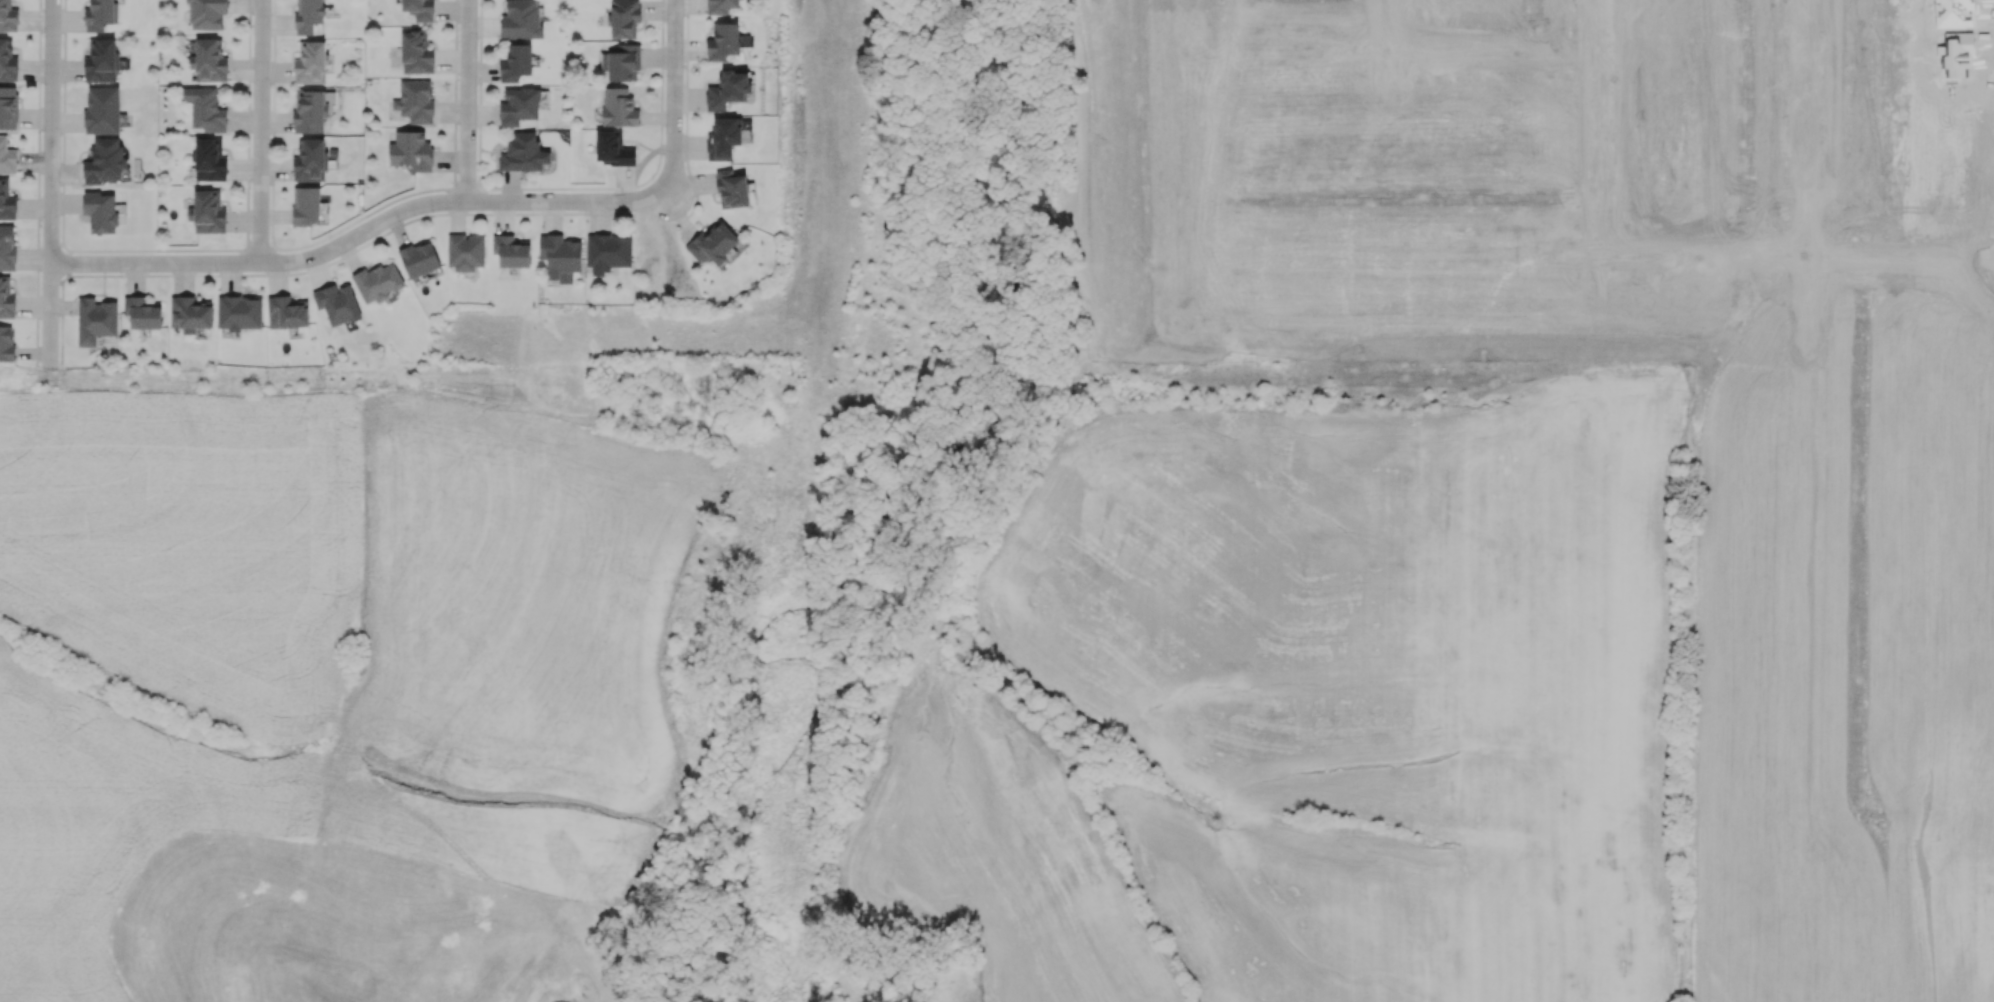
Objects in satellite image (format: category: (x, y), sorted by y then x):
building: (720, 6)
building: (419, 9)
building: (206, 14)
building: (100, 15)
building: (8, 16)
building: (309, 16)
building: (624, 18)
building: (521, 19)
building: (723, 41)
building: (416, 52)
building: (7, 60)
building: (101, 60)
building: (209, 60)
building: (310, 62)
building: (516, 63)
building: (624, 63)
building: (728, 89)
road: (678, 96)
road: (473, 98)
building: (414, 101)
building: (519, 105)
building: (8, 107)
building: (618, 107)
building: (205, 109)
building: (102, 110)
building: (311, 110)
road: (266, 130)
building: (723, 138)
building: (612, 148)
building: (411, 150)
building: (523, 153)
building: (7, 157)
building: (312, 159)
building: (209, 160)
building: (104, 161)
road: (58, 179)
building: (731, 189)
building: (6, 201)
building: (306, 205)
building: (207, 212)
road: (365, 237)
building: (712, 244)
building: (7, 247)
building: (465, 251)
building: (511, 251)
building: (608, 252)
building: (560, 257)
building: (419, 258)
building: (378, 282)
building: (6, 298)
building: (337, 304)
building: (142, 312)
building: (239, 312)
building: (287, 312)
building: (189, 313)
building: (95, 320)
building: (6, 342)
crop: (316, 669)
dam: (303, 987)

